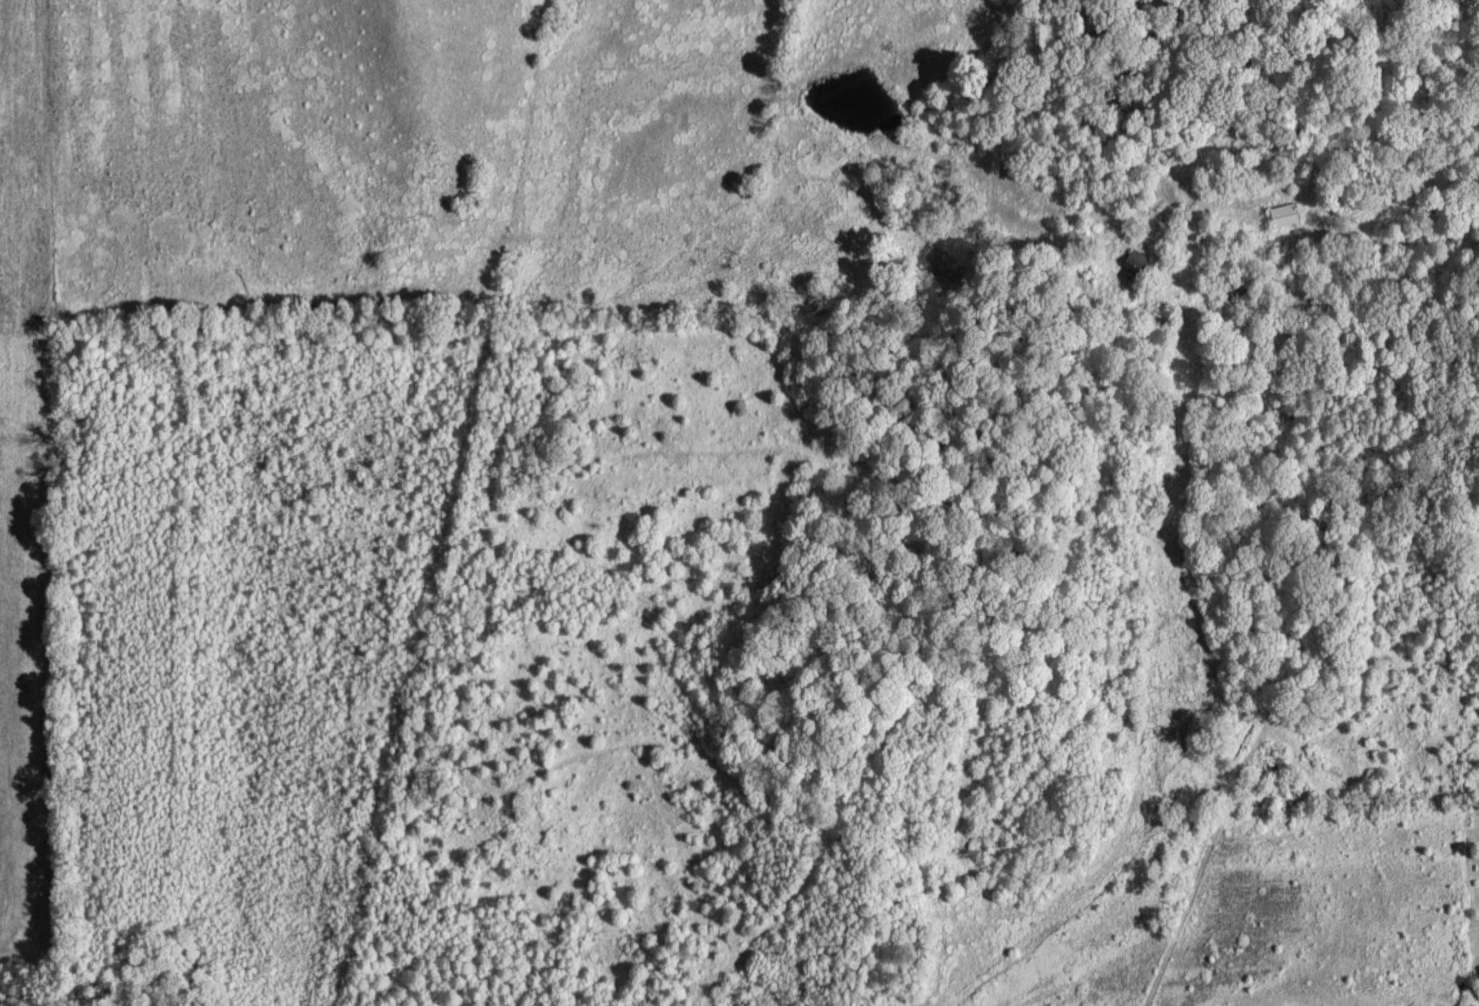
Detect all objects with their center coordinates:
building: (1135, 261)

